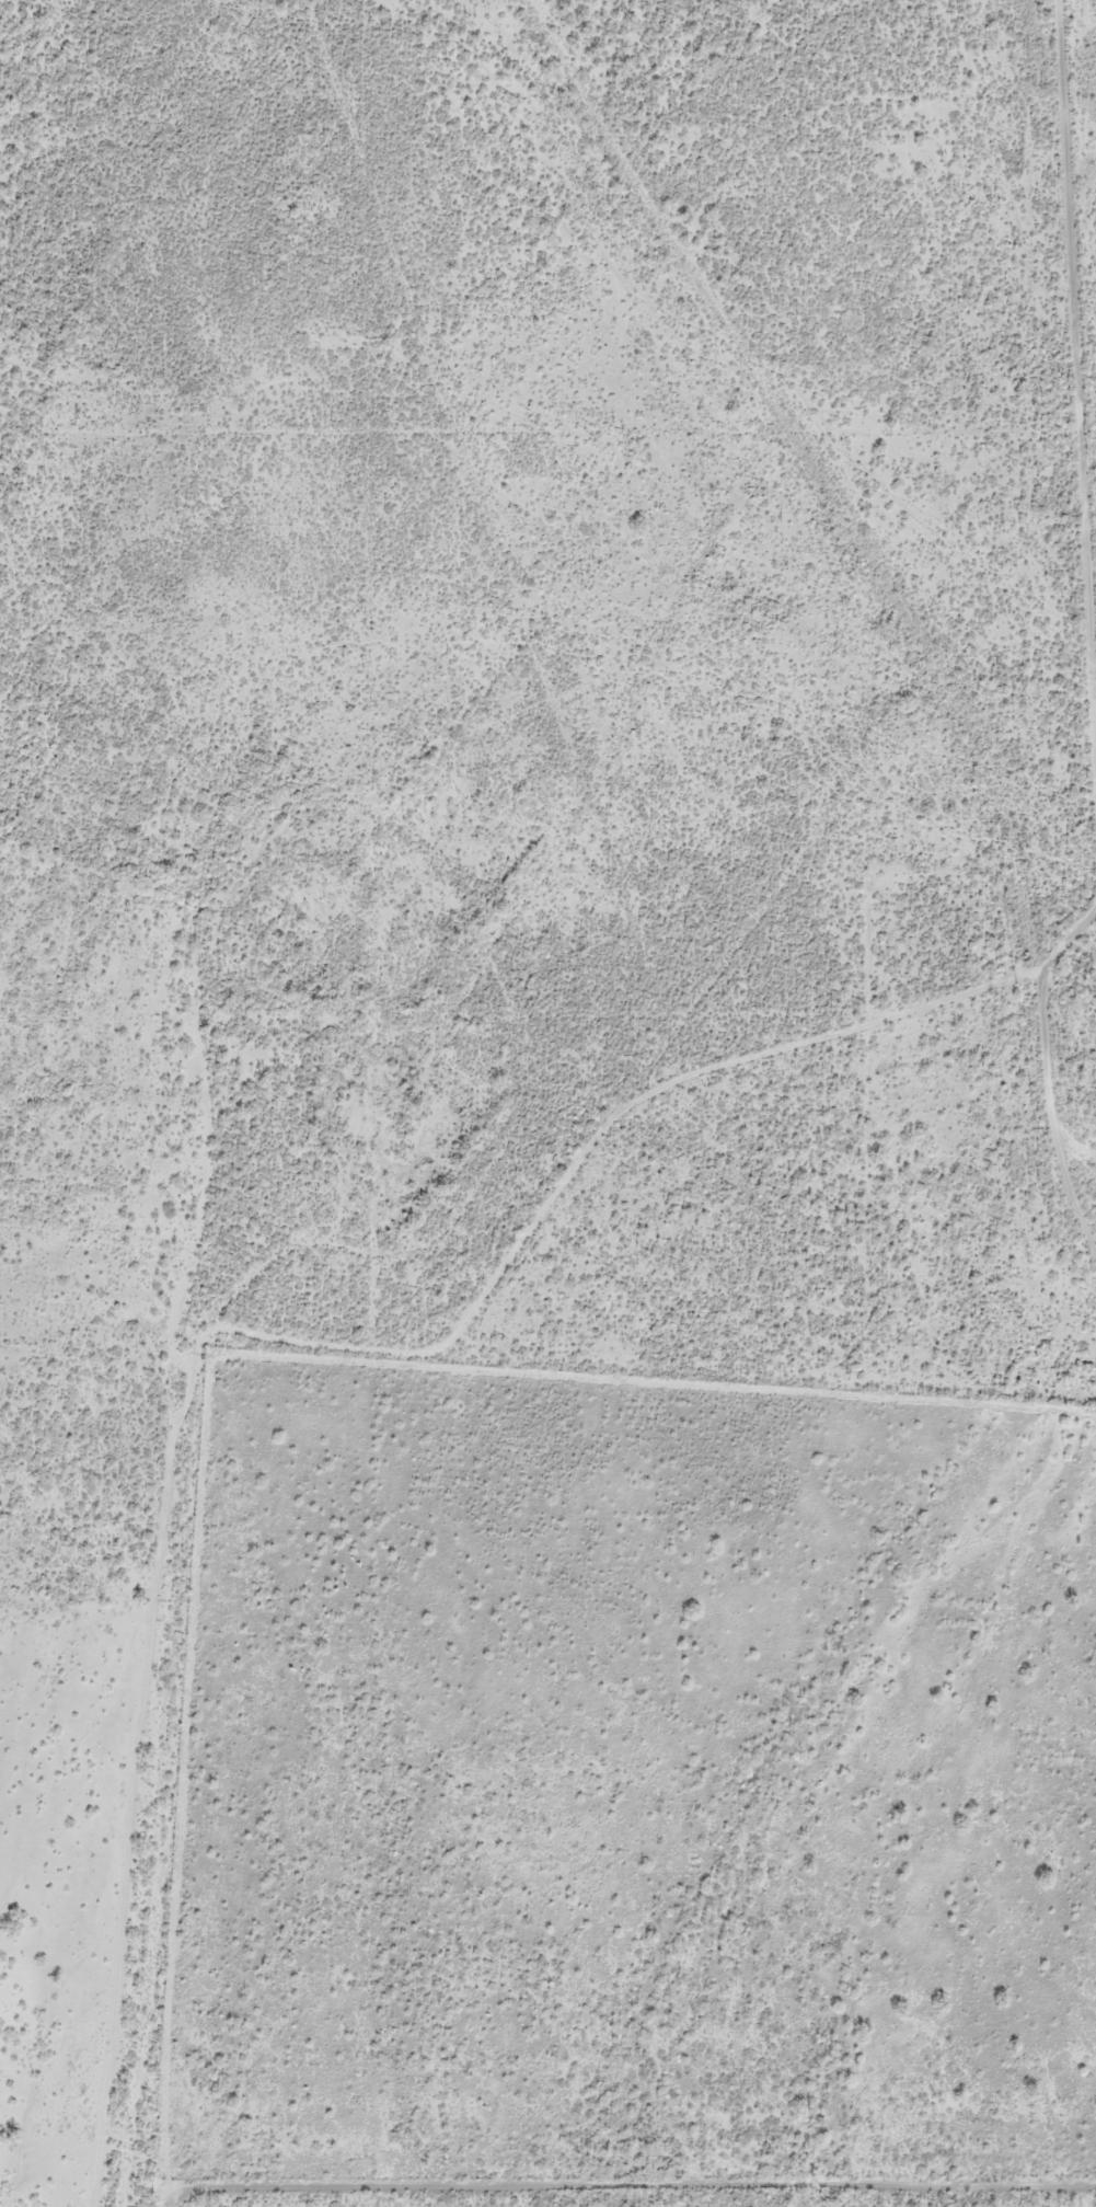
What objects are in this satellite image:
road: (1075, 424)
road: (1043, 1078)

